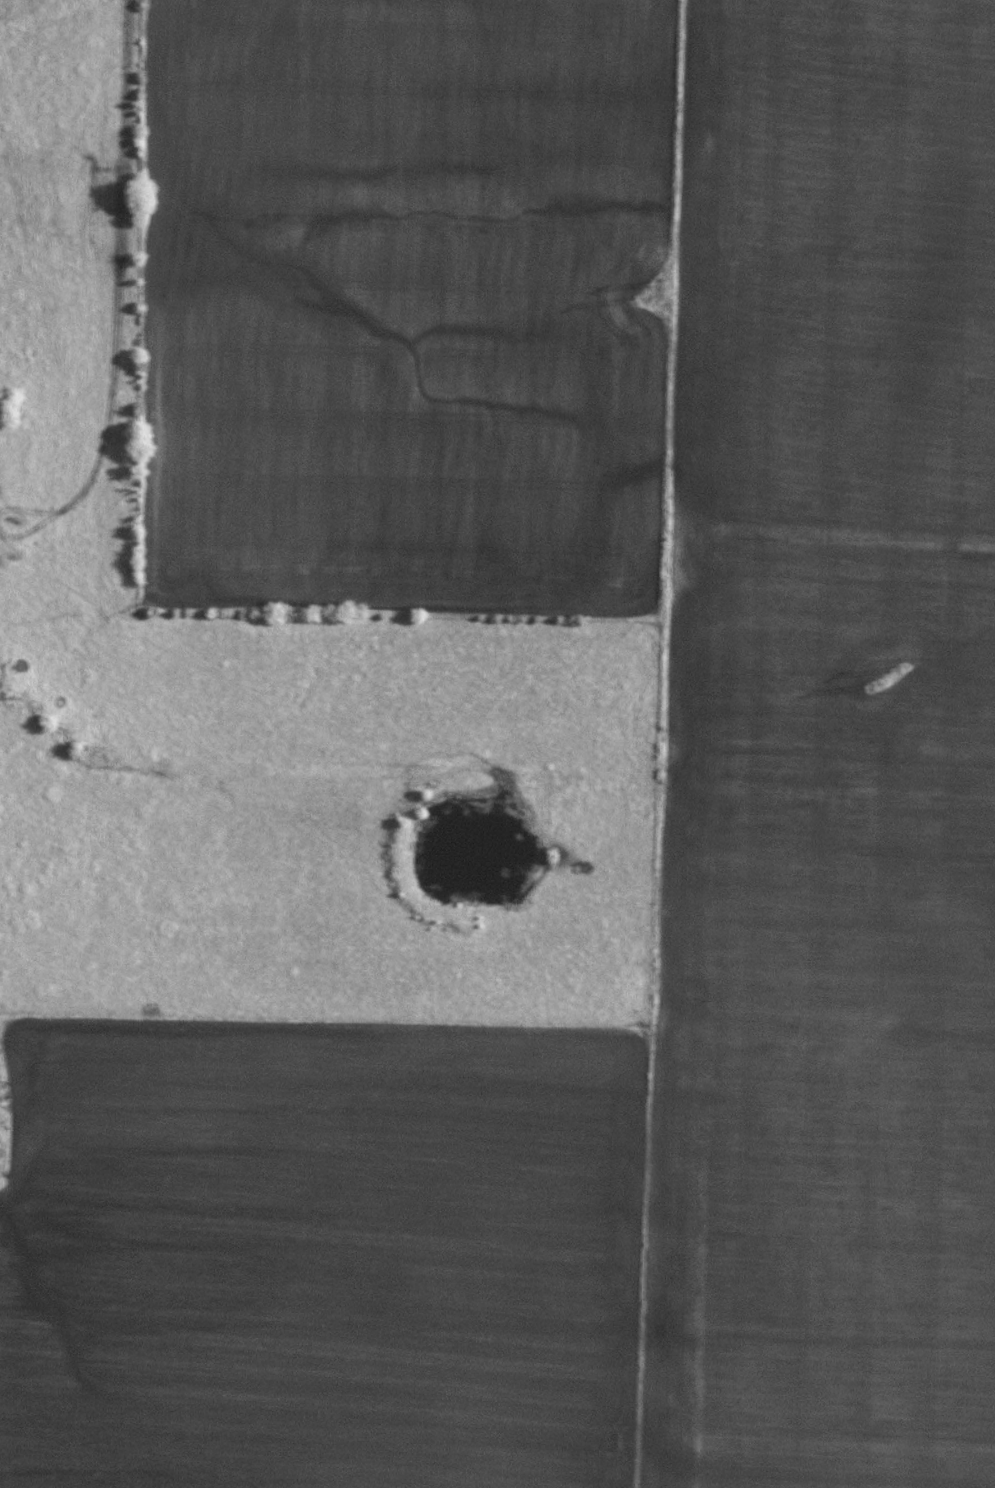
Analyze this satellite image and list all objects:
power tower: (665, 281)
power tower: (634, 300)
power tower: (899, 666)
power tower: (866, 684)

